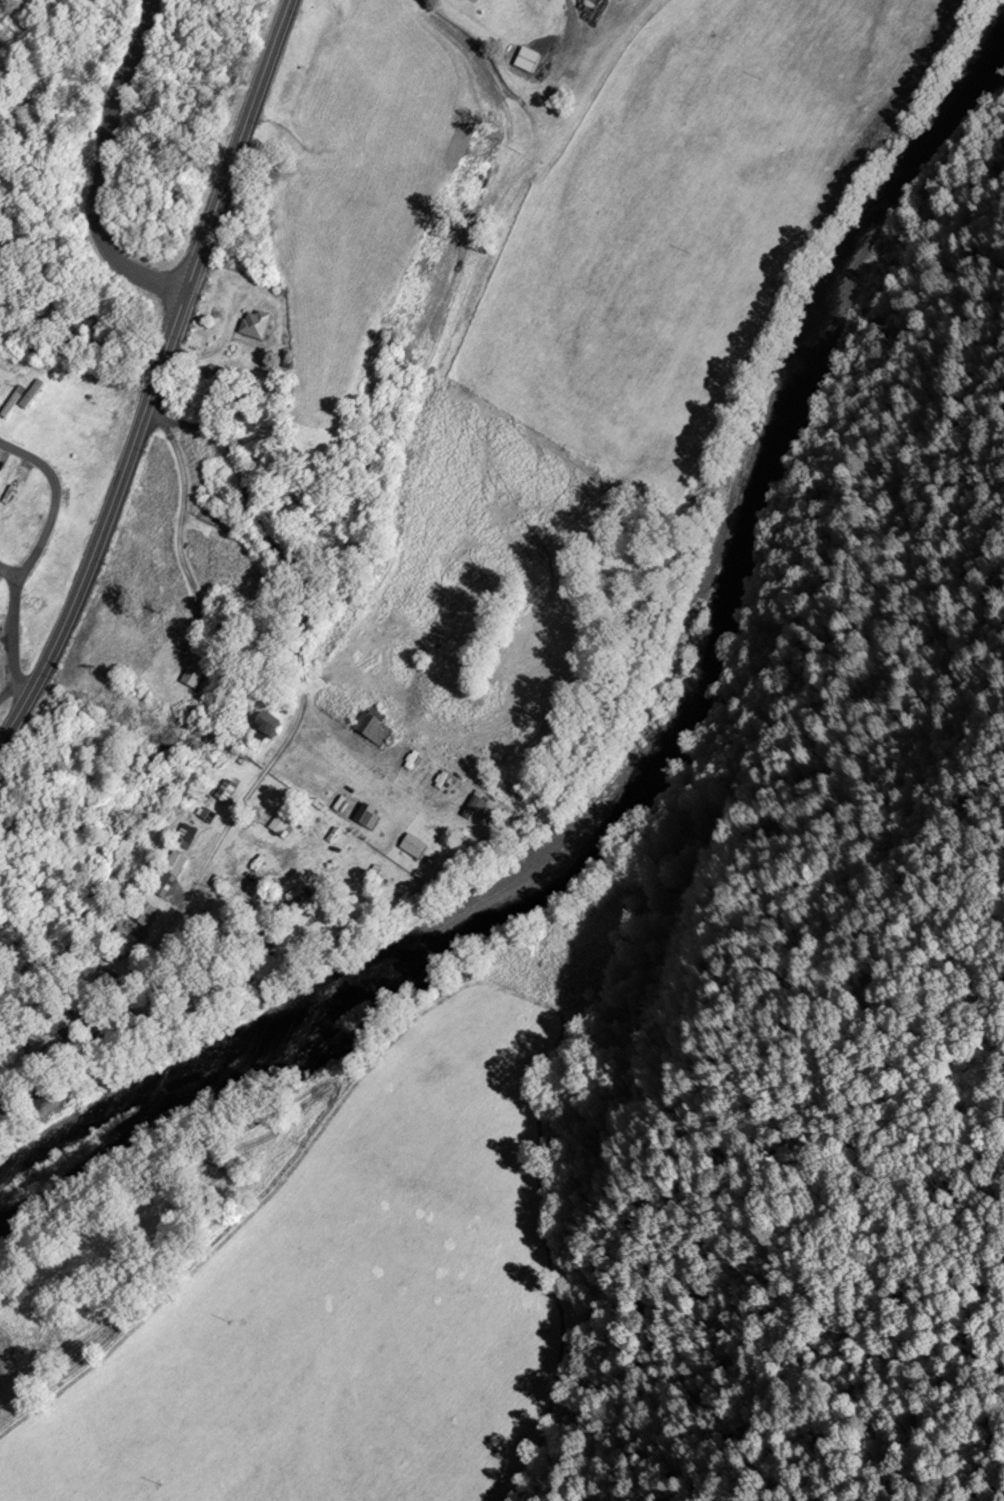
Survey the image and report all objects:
building: (476, 1)
building: (530, 61)
road: (100, 174)
crop: (371, 177)
crop: (665, 231)
building: (257, 328)
road: (161, 379)
building: (2, 383)
building: (34, 396)
road: (55, 501)
road: (181, 531)
road: (8, 573)
road: (13, 641)
road: (301, 671)
building: (196, 676)
building: (271, 727)
building: (373, 730)
river: (676, 746)
building: (227, 791)
building: (208, 816)
building: (281, 822)
building: (185, 837)
building: (178, 863)
building: (159, 879)
building: (143, 914)
building: (262, 931)
building: (126, 944)
building: (155, 995)
building: (108, 1031)
building: (47, 1078)
building: (7, 1099)
crop: (350, 1302)

